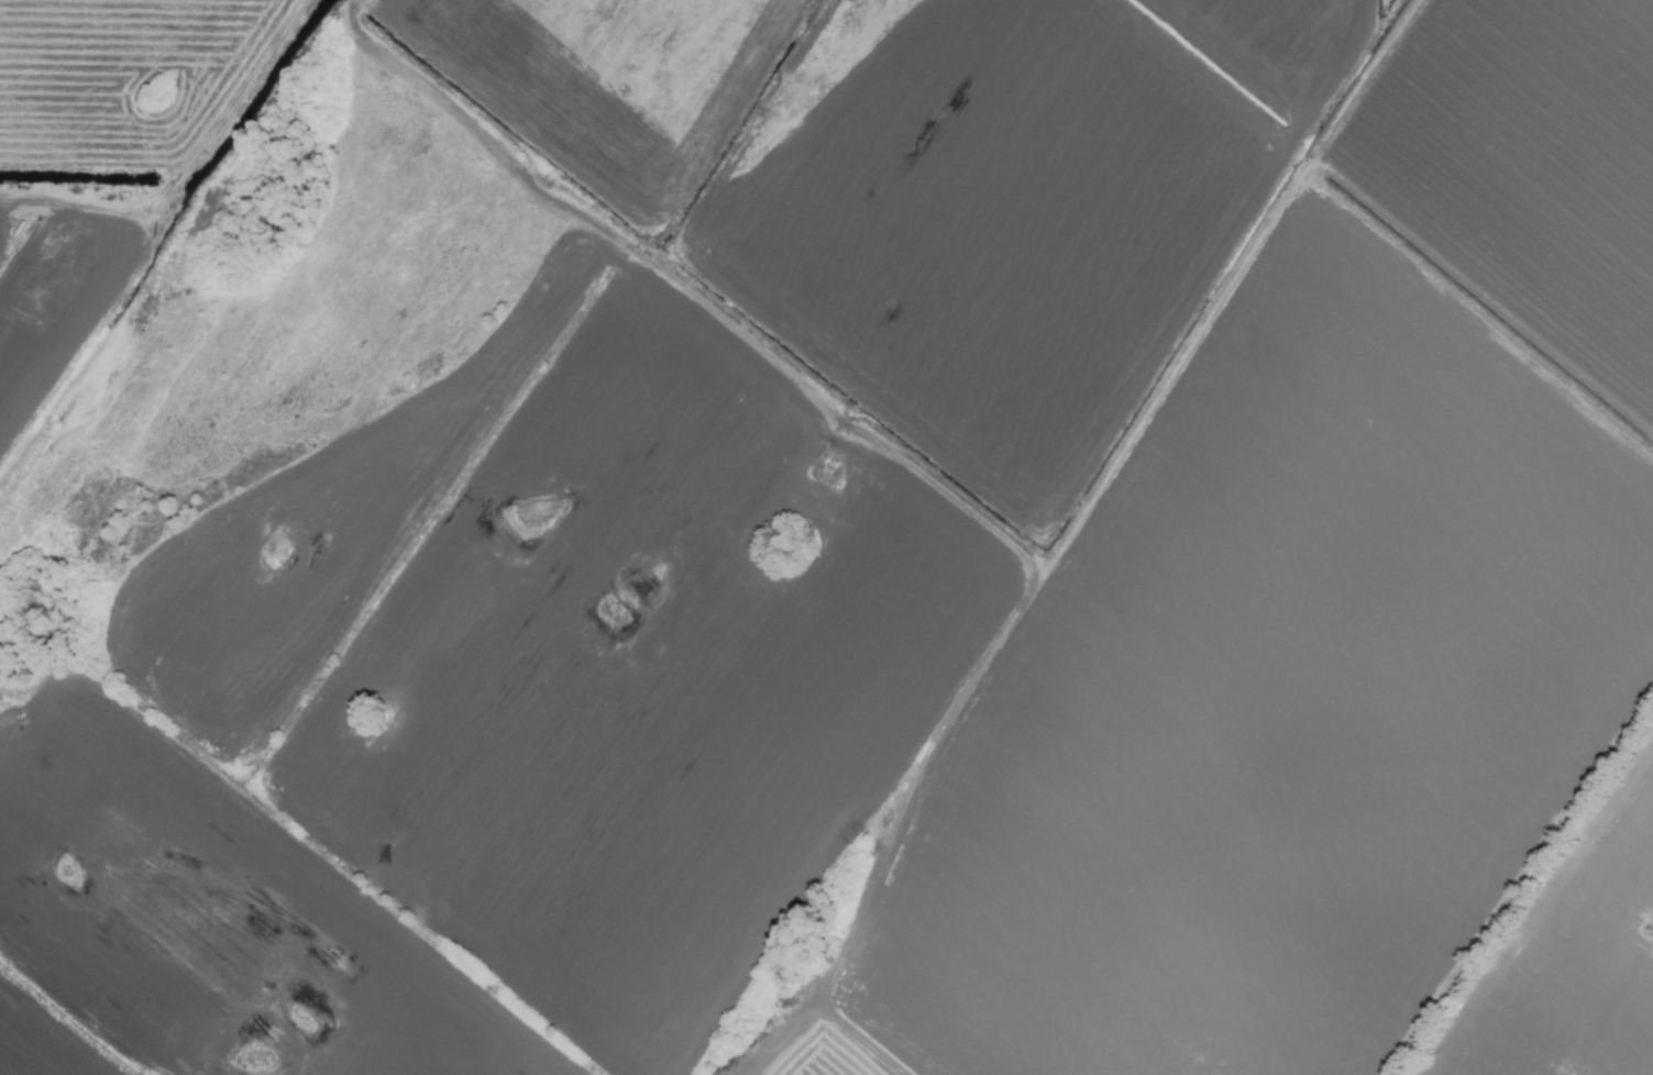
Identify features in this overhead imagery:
crop: (826, 537)

